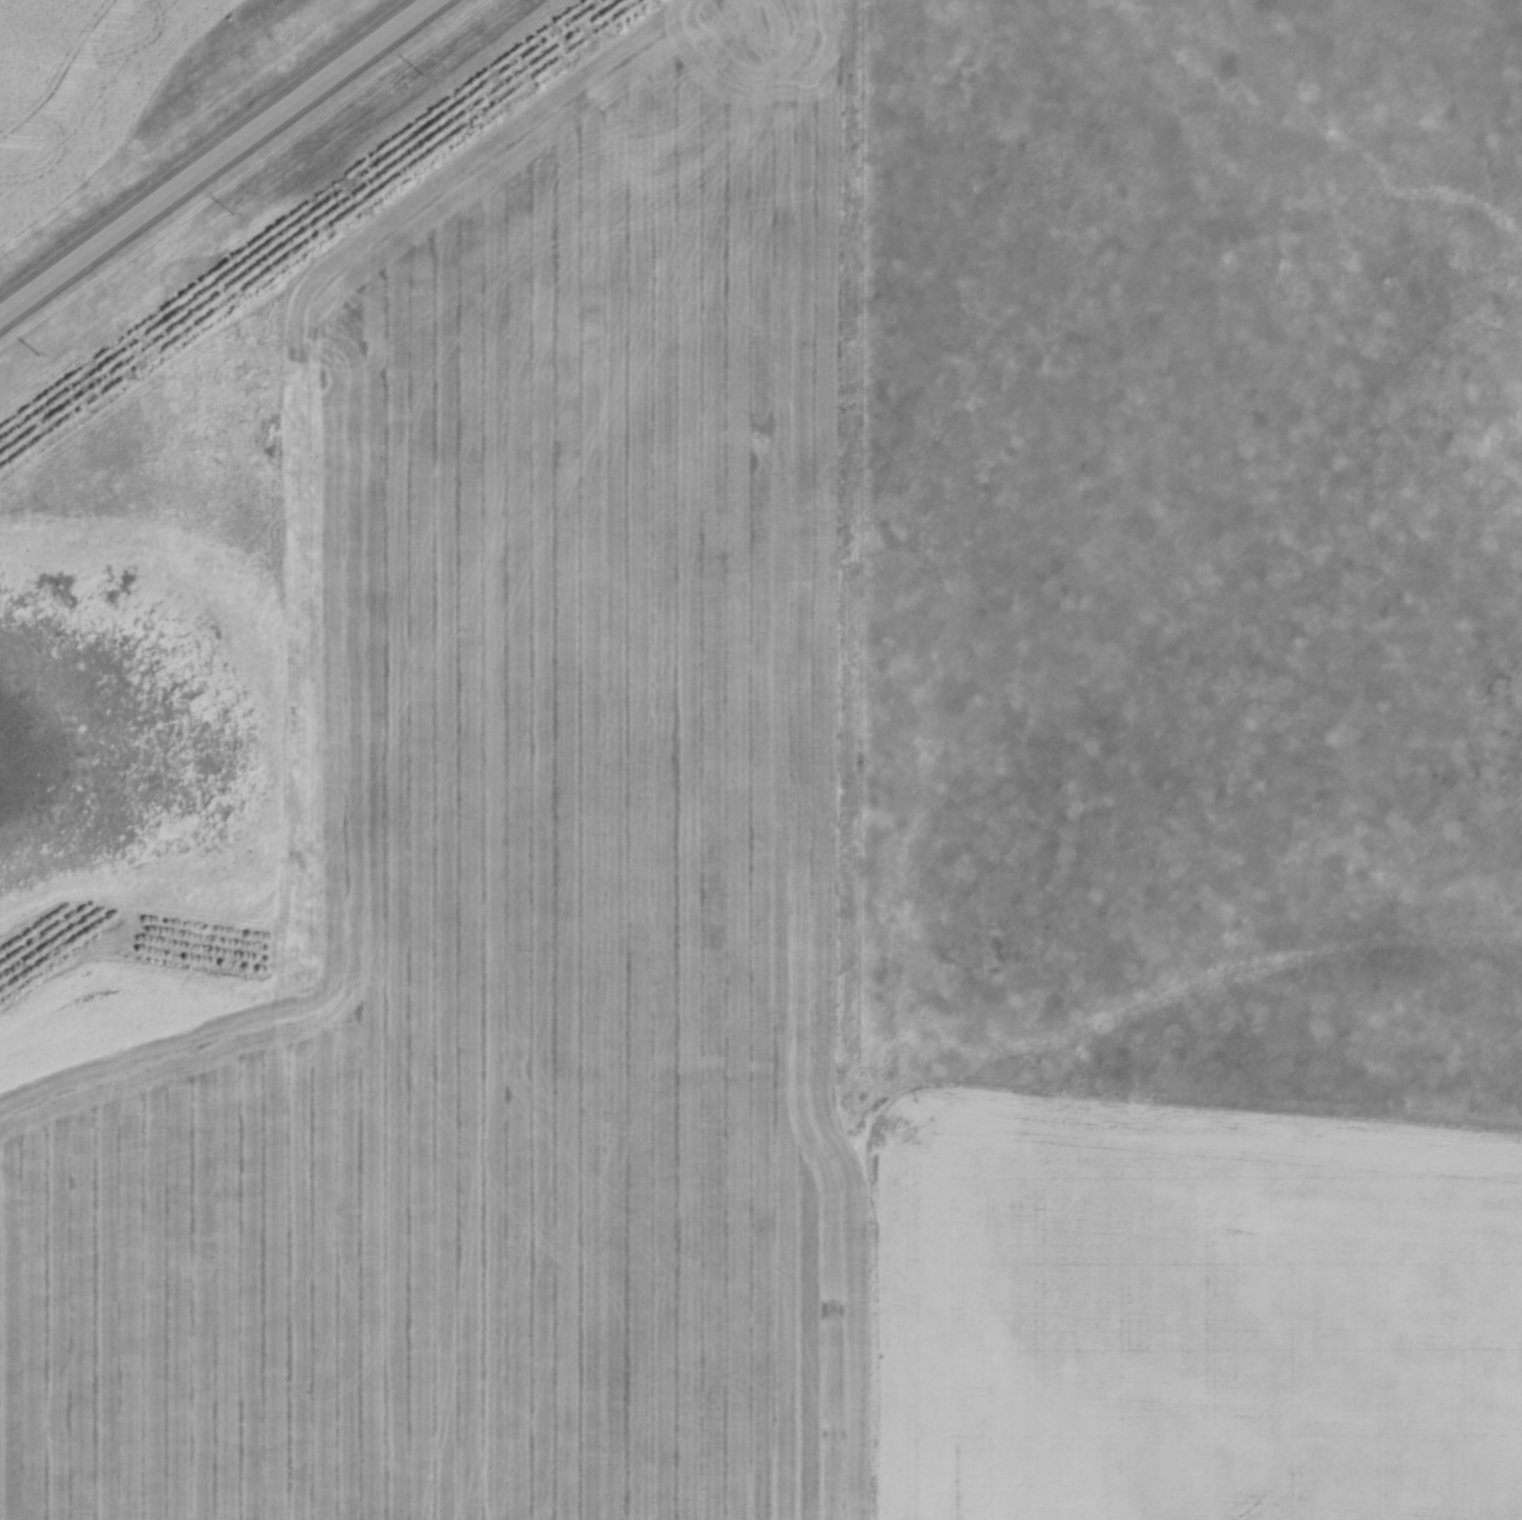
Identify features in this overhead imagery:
road: (217, 158)

